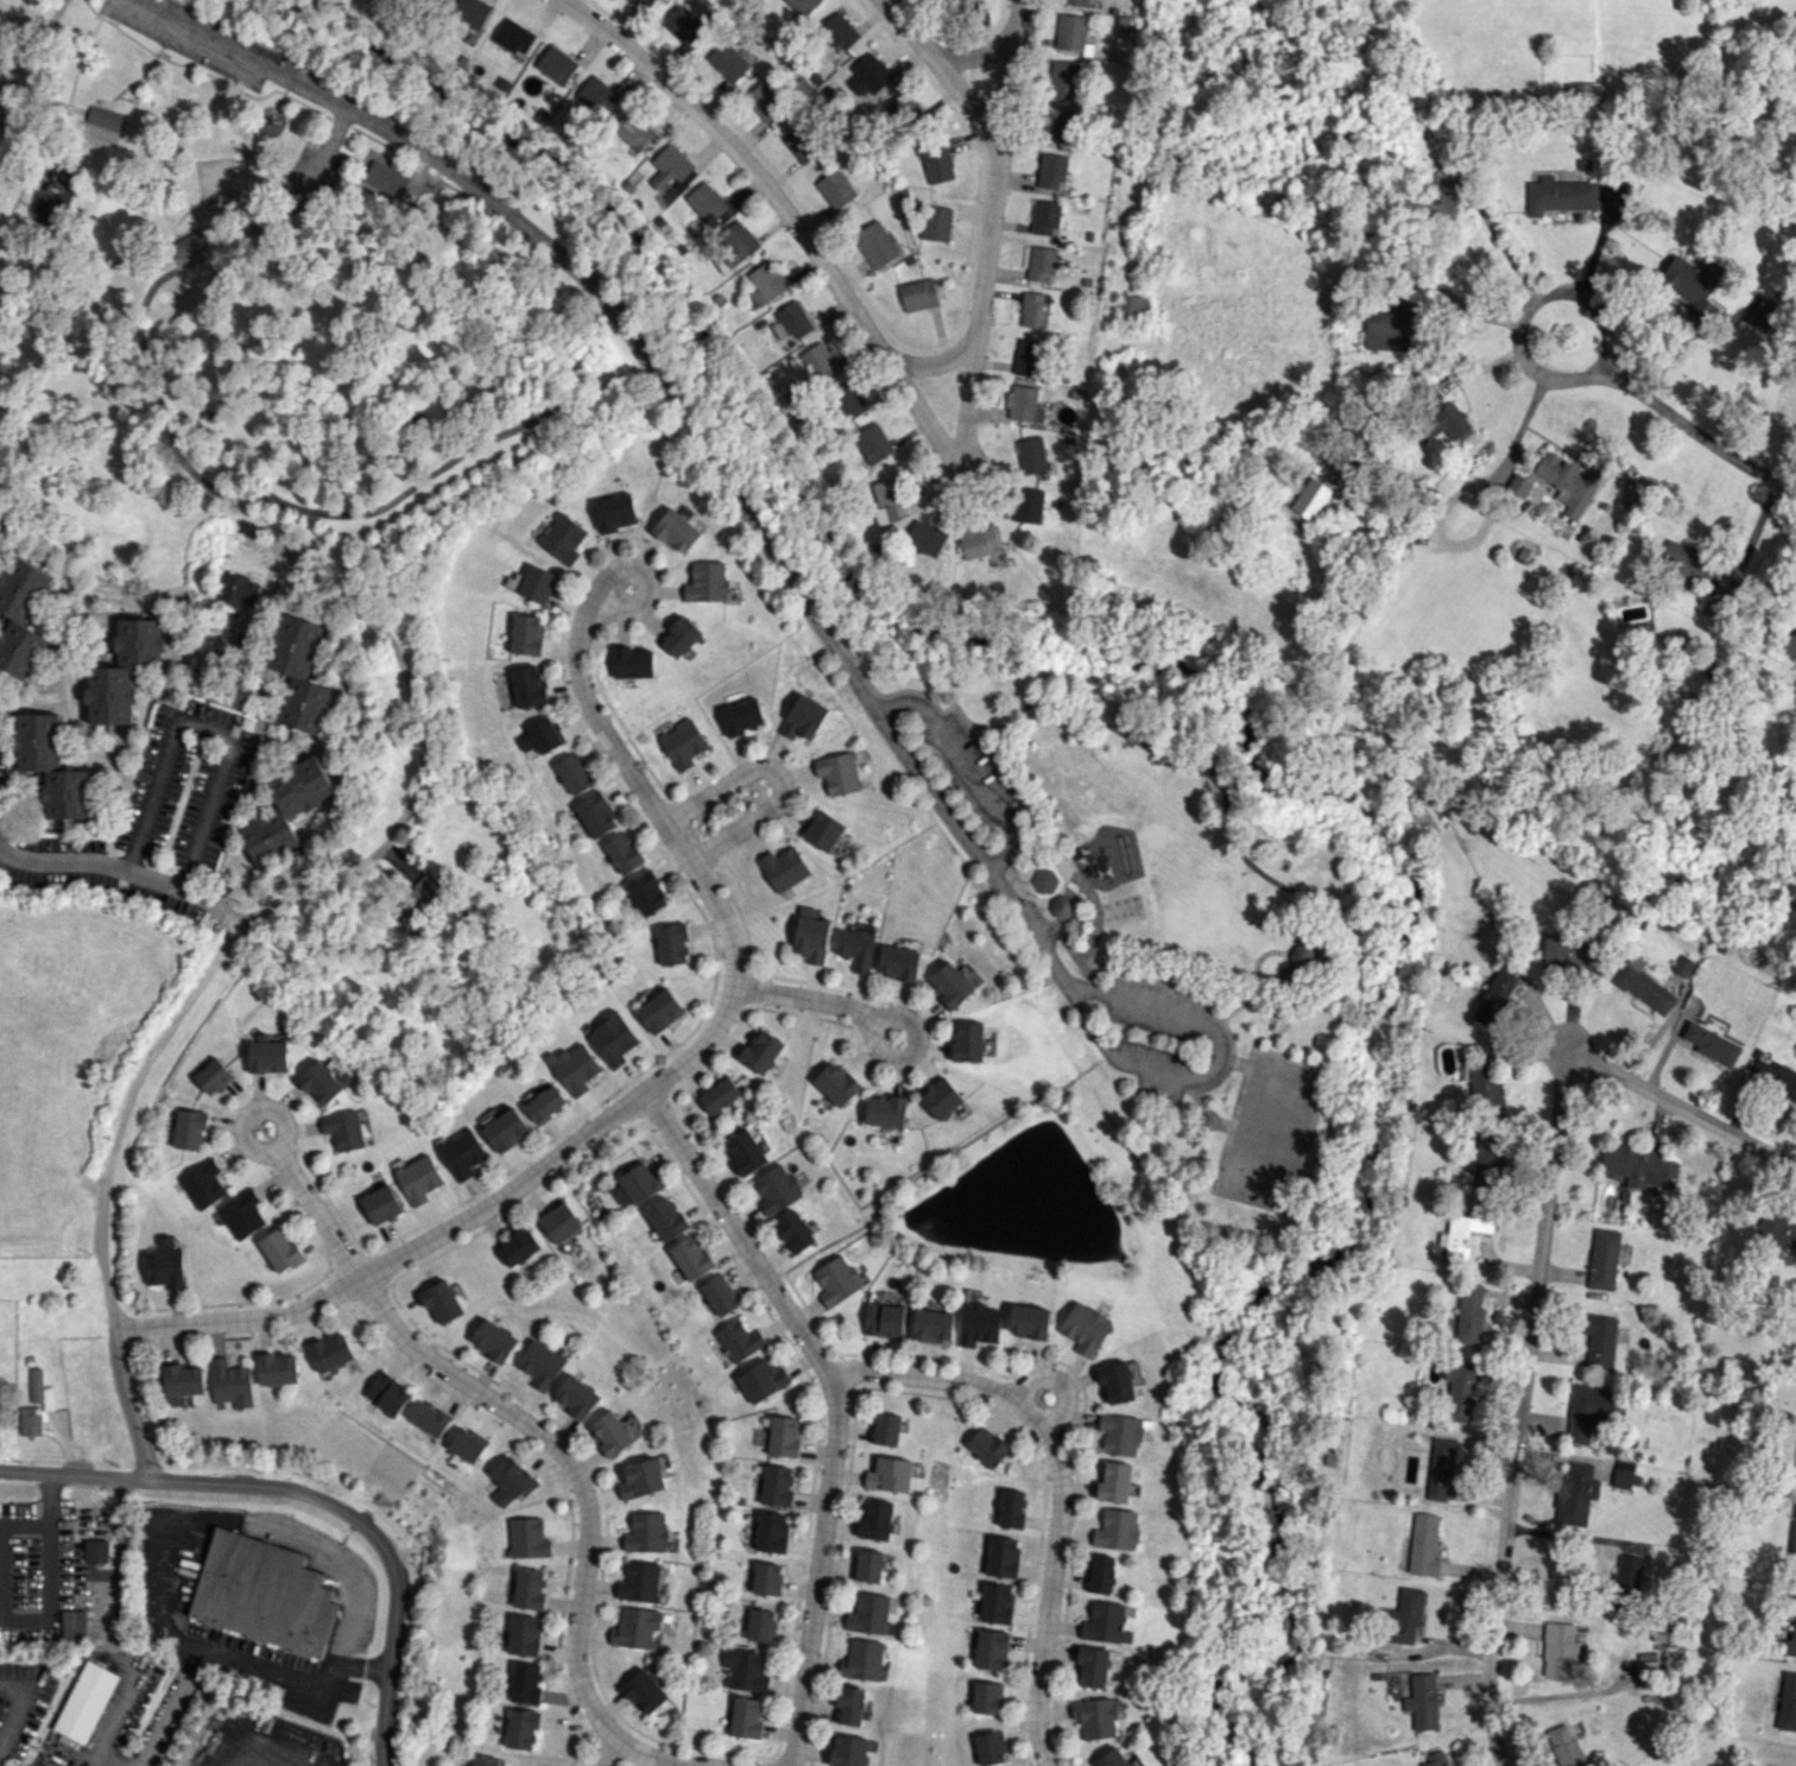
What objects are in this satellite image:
building: (947, 0)
building: (643, 2)
building: (1075, 2)
building: (802, 6)
road: (94, 8)
building: (472, 11)
building: (683, 24)
parking lot: (220, 31)
building: (839, 31)
building: (1070, 31)
building: (514, 37)
parking lot: (183, 46)
road: (17, 50)
road: (985, 53)
building: (728, 61)
building: (556, 64)
road: (27, 69)
road: (951, 71)
park: (7, 74)
building: (868, 75)
building: (1062, 80)
building: (1581, 91)
building: (597, 94)
building: (765, 100)
road: (7, 106)
road: (75, 108)
building: (904, 110)
building: (101, 115)
building: (1058, 125)
building: (633, 131)
road: (369, 137)
parking lot: (432, 144)
building: (798, 145)
road: (324, 153)
road: (31, 164)
building: (937, 164)
building: (672, 170)
building: (1051, 170)
water park: (248, 171)
parking lot: (314, 173)
building: (381, 175)
building: (835, 188)
building: (1558, 195)
building: (1443, 197)
road: (390, 198)
building: (706, 202)
road: (779, 202)
road: (235, 203)
building: (1044, 217)
park: (110, 221)
building: (936, 222)
road: (992, 224)
road: (540, 228)
road: (238, 232)
building: (738, 242)
building: (875, 243)
building: (192, 247)
building: (1039, 264)
road: (17, 273)
building: (765, 283)
building: (1693, 285)
building: (918, 295)
building: (1132, 308)
building: (1035, 310)
road: (1526, 310)
building: (1763, 315)
road: (564, 321)
building: (791, 321)
building: (1390, 327)
building: (1029, 357)
building: (820, 361)
road: (936, 362)
building: (847, 400)
building: (1023, 404)
road: (678, 405)
building: (1442, 418)
road: (1691, 435)
building: (872, 443)
building: (1031, 455)
building: (1568, 482)
building: (1518, 486)
road: (748, 496)
building: (888, 500)
building: (1027, 505)
road: (321, 512)
building: (615, 512)
building: (677, 530)
building: (925, 537)
building: (562, 538)
building: (979, 542)
building: (708, 582)
building: (537, 583)
road: (645, 585)
building: (238, 589)
park: (821, 589)
building: (21, 616)
building: (525, 634)
building: (681, 635)
building: (229, 646)
building: (1790, 646)
building: (632, 663)
building: (124, 671)
building: (298, 673)
building: (527, 686)
building: (742, 716)
building: (804, 717)
road: (207, 728)
building: (540, 735)
road: (982, 738)
building: (683, 742)
road: (431, 751)
road: (970, 765)
building: (51, 766)
parking lot: (966, 767)
building: (839, 772)
road: (778, 773)
building: (573, 774)
road: (1022, 793)
building: (285, 809)
building: (595, 815)
building: (824, 830)
road: (1237, 846)
building: (624, 853)
building: (784, 868)
road: (124, 871)
road: (1087, 887)
building: (646, 892)
building: (419, 901)
building: (1061, 906)
road: (1063, 906)
road: (1050, 922)
building: (811, 935)
building: (672, 943)
building: (855, 948)
building: (1563, 954)
building: (899, 962)
building: (1296, 963)
building: (1682, 964)
road: (1158, 979)
building: (950, 986)
building: (1643, 986)
building: (1495, 995)
road: (809, 1000)
parking lot: (1153, 1007)
building: (660, 1009)
road: (175, 1020)
road: (881, 1024)
road: (1560, 1030)
building: (613, 1038)
building: (968, 1042)
building: (1712, 1044)
building: (761, 1050)
building: (267, 1056)
road: (1229, 1061)
road: (1208, 1062)
road: (1238, 1064)
parking lot: (1156, 1066)
building: (575, 1068)
building: (213, 1076)
building: (1773, 1077)
building: (1486, 1080)
building: (321, 1082)
building: (836, 1083)
road: (640, 1094)
building: (720, 1095)
building: (941, 1097)
building: (545, 1103)
building: (886, 1110)
park: (1270, 1127)
building: (189, 1128)
building: (344, 1129)
building: (507, 1129)
building: (745, 1152)
building: (463, 1153)
building: (1484, 1154)
road: (280, 1157)
road: (941, 1158)
building: (1638, 1165)
building: (419, 1178)
building: (639, 1182)
building: (202, 1183)
building: (777, 1189)
building: (382, 1204)
building: (242, 1214)
building: (664, 1219)
building: (559, 1222)
building: (793, 1230)
building: (1777, 1230)
building: (1462, 1234)
road: (734, 1235)
building: (519, 1246)
building: (280, 1249)
building: (690, 1258)
building: (1602, 1259)
building: (165, 1265)
road: (772, 1278)
building: (836, 1280)
road: (1535, 1290)
building: (717, 1296)
road: (109, 1299)
building: (442, 1300)
building: (1469, 1314)
building: (883, 1318)
building: (1029, 1321)
building: (979, 1323)
building: (932, 1325)
building: (1086, 1328)
building: (493, 1340)
building: (738, 1340)
building: (1599, 1341)
building: (331, 1352)
building: (539, 1363)
building: (277, 1369)
building: (183, 1380)
building: (761, 1380)
road: (1058, 1381)
building: (230, 1382)
building: (1115, 1382)
building: (42, 1390)
building: (1459, 1390)
building: (387, 1393)
building: (576, 1395)
building: (1586, 1410)
building: (428, 1418)
building: (32, 1420)
building: (886, 1429)
building: (609, 1432)
building: (782, 1436)
building: (466, 1445)
building: (987, 1447)
building: (1438, 1468)
building: (888, 1474)
building: (1625, 1474)
building: (639, 1479)
building: (508, 1480)
building: (1114, 1481)
road: (1058, 1482)
building: (776, 1485)
building: (1576, 1493)
road: (310, 1494)
building: (1010, 1508)
road: (583, 1509)
building: (875, 1520)
building: (1117, 1530)
building: (645, 1532)
building: (770, 1532)
building: (526, 1538)
building: (1423, 1545)
building: (1794, 1549)
building: (96, 1550)
building: (1001, 1557)
building: (868, 1565)
road: (816, 1571)
building: (1101, 1574)
building: (1629, 1575)
building: (765, 1577)
building: (639, 1582)
building: (527, 1588)
building: (263, 1594)
building: (995, 1603)
building: (868, 1613)
building: (1402, 1616)
building: (1102, 1622)
building: (759, 1625)
building: (74, 1626)
building: (635, 1627)
building: (523, 1635)
building: (1791, 1638)
building: (989, 1648)
building: (1560, 1650)
building: (862, 1659)
building: (1092, 1666)
building: (745, 1670)
road: (286, 1675)
building: (1646, 1675)
building: (525, 1682)
building: (644, 1691)
building: (986, 1697)
building: (86, 1701)
building: (1422, 1701)
building: (1788, 1702)
building: (850, 1704)
road: (20, 1709)
building: (746, 1717)
building: (1094, 1717)
road: (164, 1718)
building: (521, 1728)
building: (1564, 1746)
building: (989, 1747)
road: (602, 1751)
building: (849, 1751)
road: (253, 1758)
building: (1111, 1759)
building: (1435, 1759)
building: (485, 1760)
building: (30, 1765)
building: (43, 1765)

